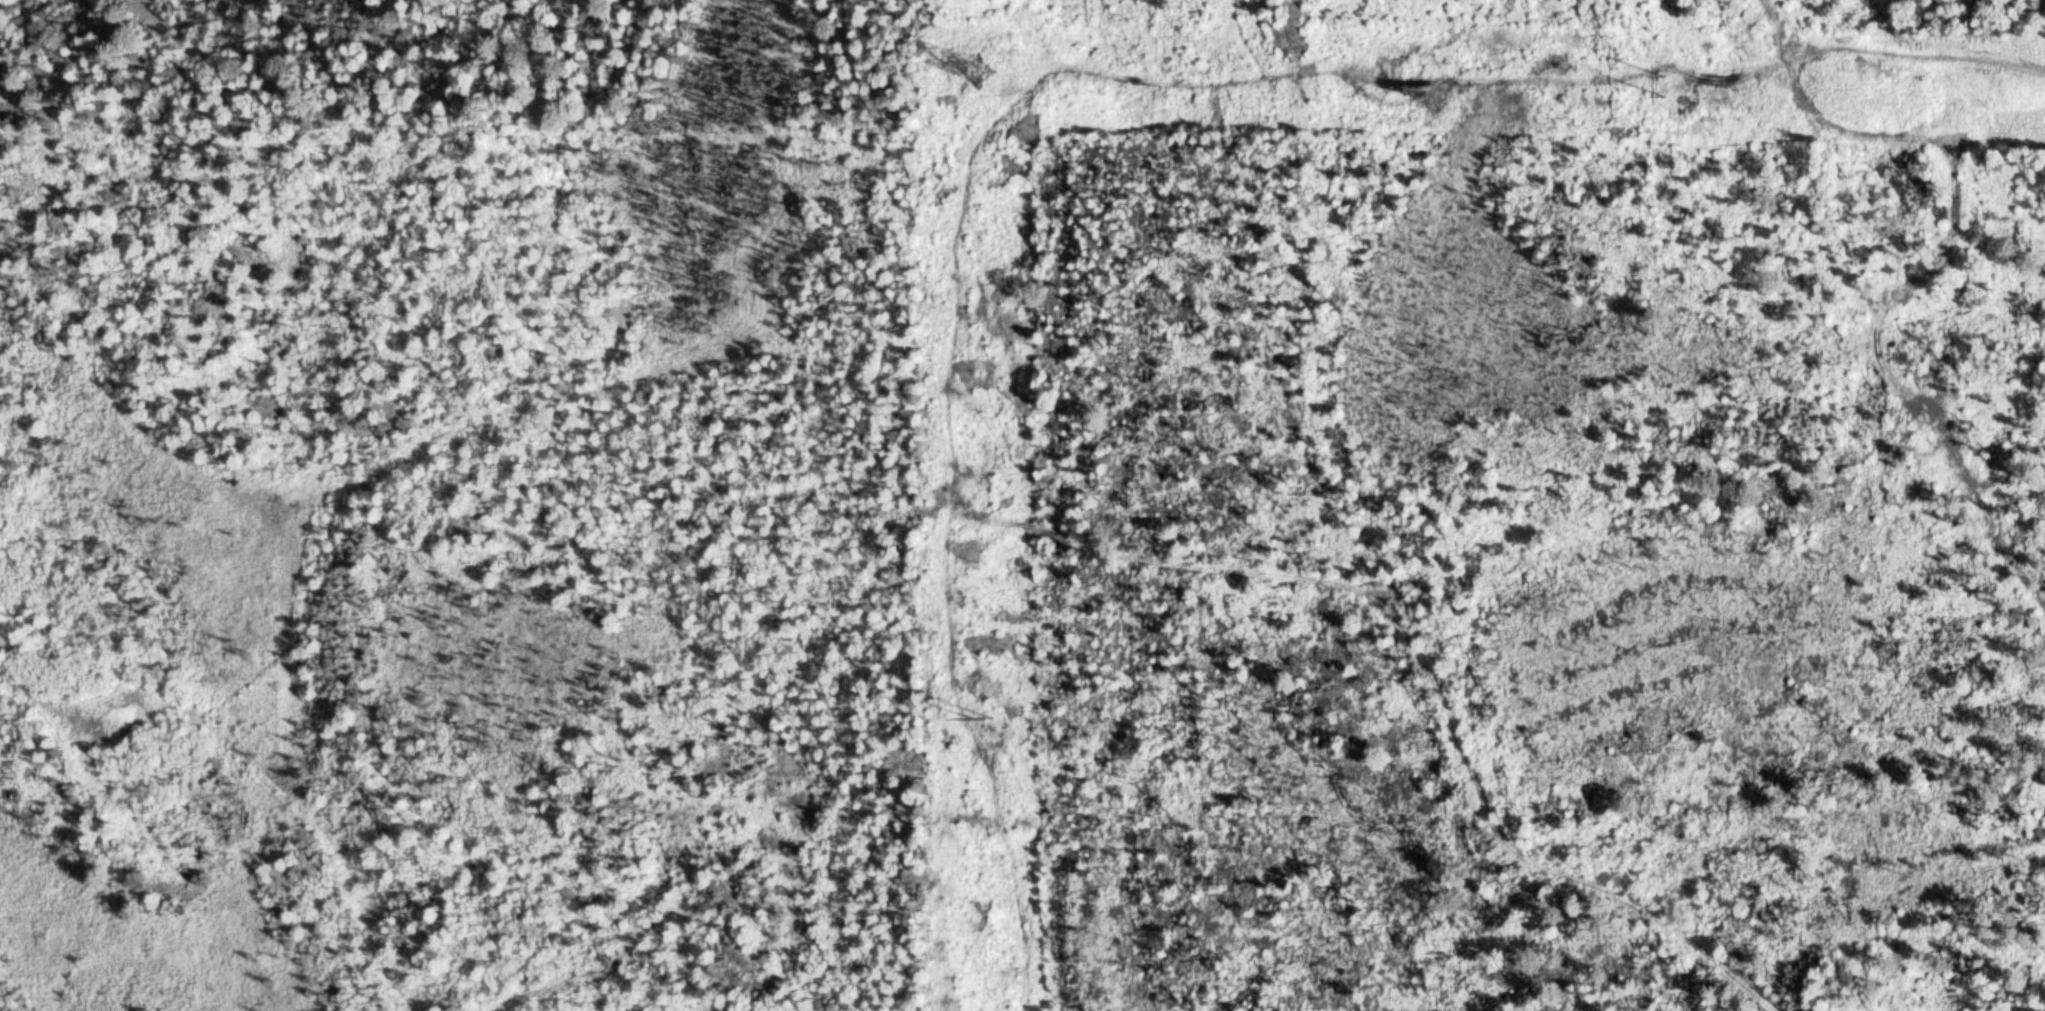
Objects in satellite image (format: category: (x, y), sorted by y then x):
power tower: (978, 69)
power tower: (1664, 81)
power tower: (983, 717)

